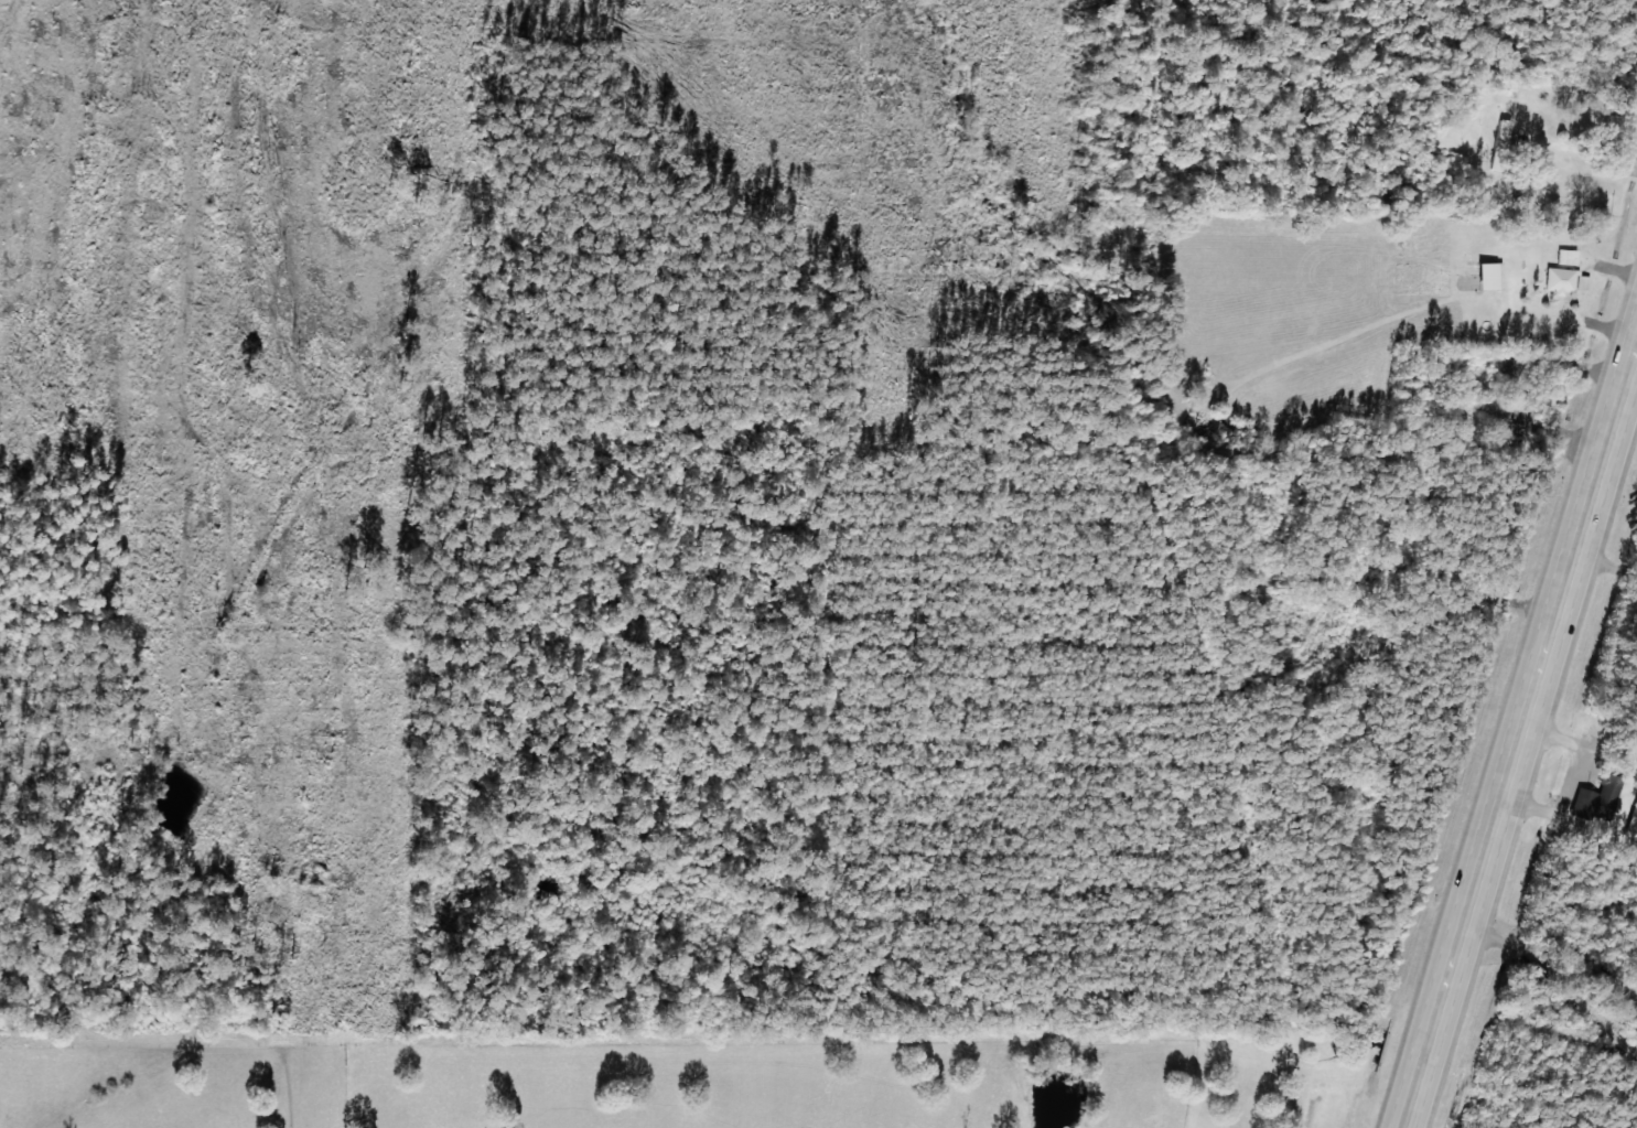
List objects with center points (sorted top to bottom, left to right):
building: (1498, 131)
building: (1563, 255)
building: (1561, 279)
road: (1616, 412)
building: (1592, 798)
road: (1498, 806)
building: (1630, 819)

